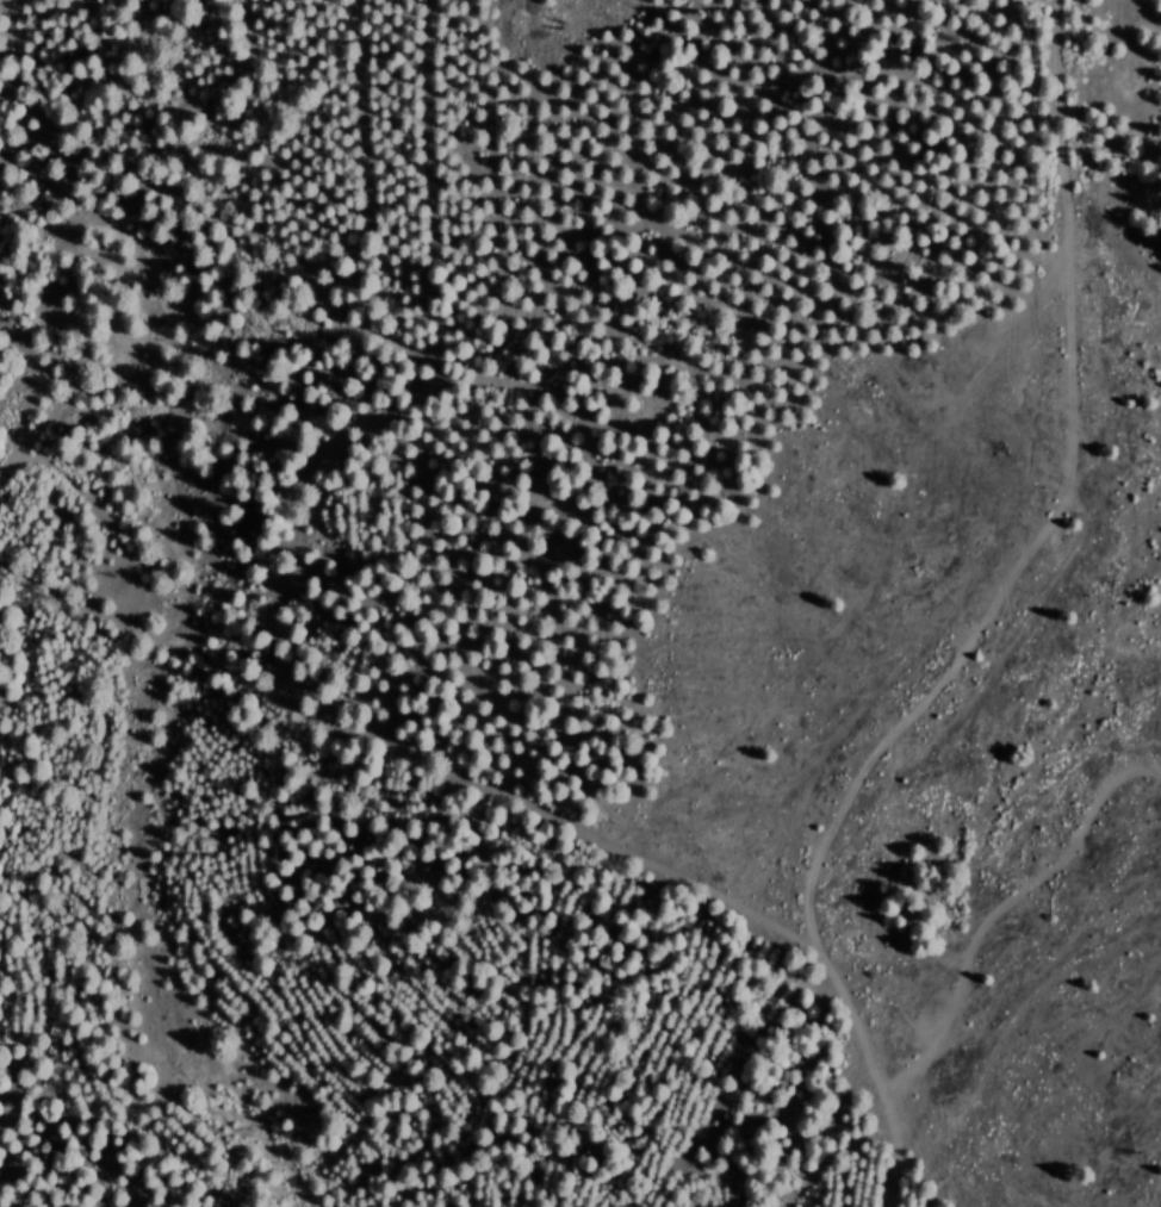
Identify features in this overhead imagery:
road: (1027, 584)
road: (994, 979)

